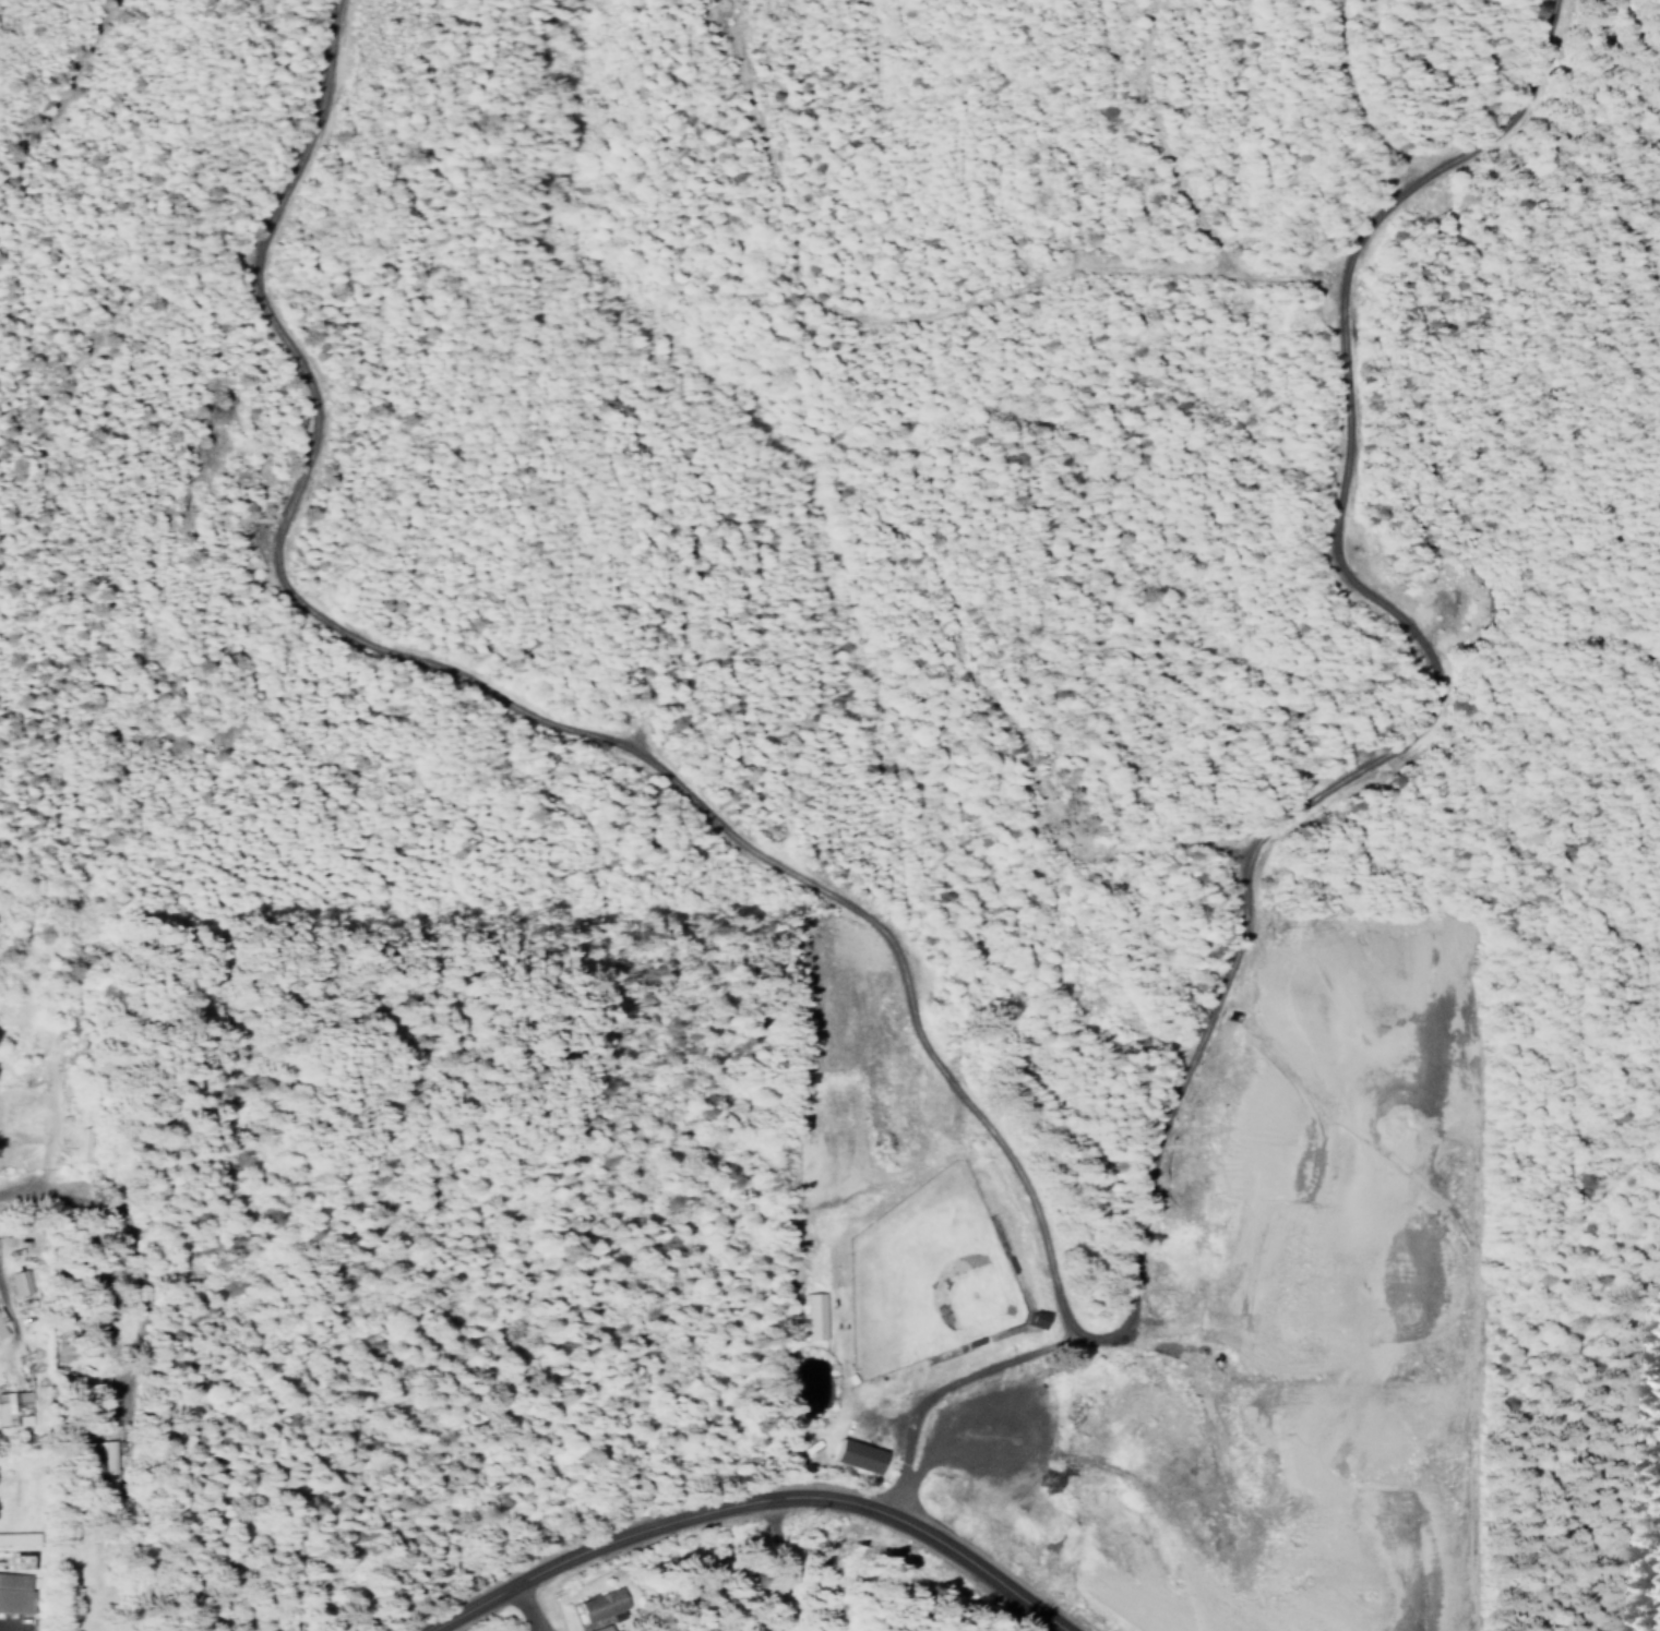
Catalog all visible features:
road: (17, 1188)
road: (141, 1259)
road: (1047, 1269)
park: (928, 1271)
building: (19, 1281)
road: (5, 1296)
building: (808, 1314)
building: (2, 1319)
road: (944, 1386)
building: (14, 1407)
building: (850, 1454)
road: (858, 1504)
building: (19, 1533)
road: (771, 1563)
road: (520, 1579)
building: (15, 1588)
building: (599, 1604)
road: (529, 1605)

